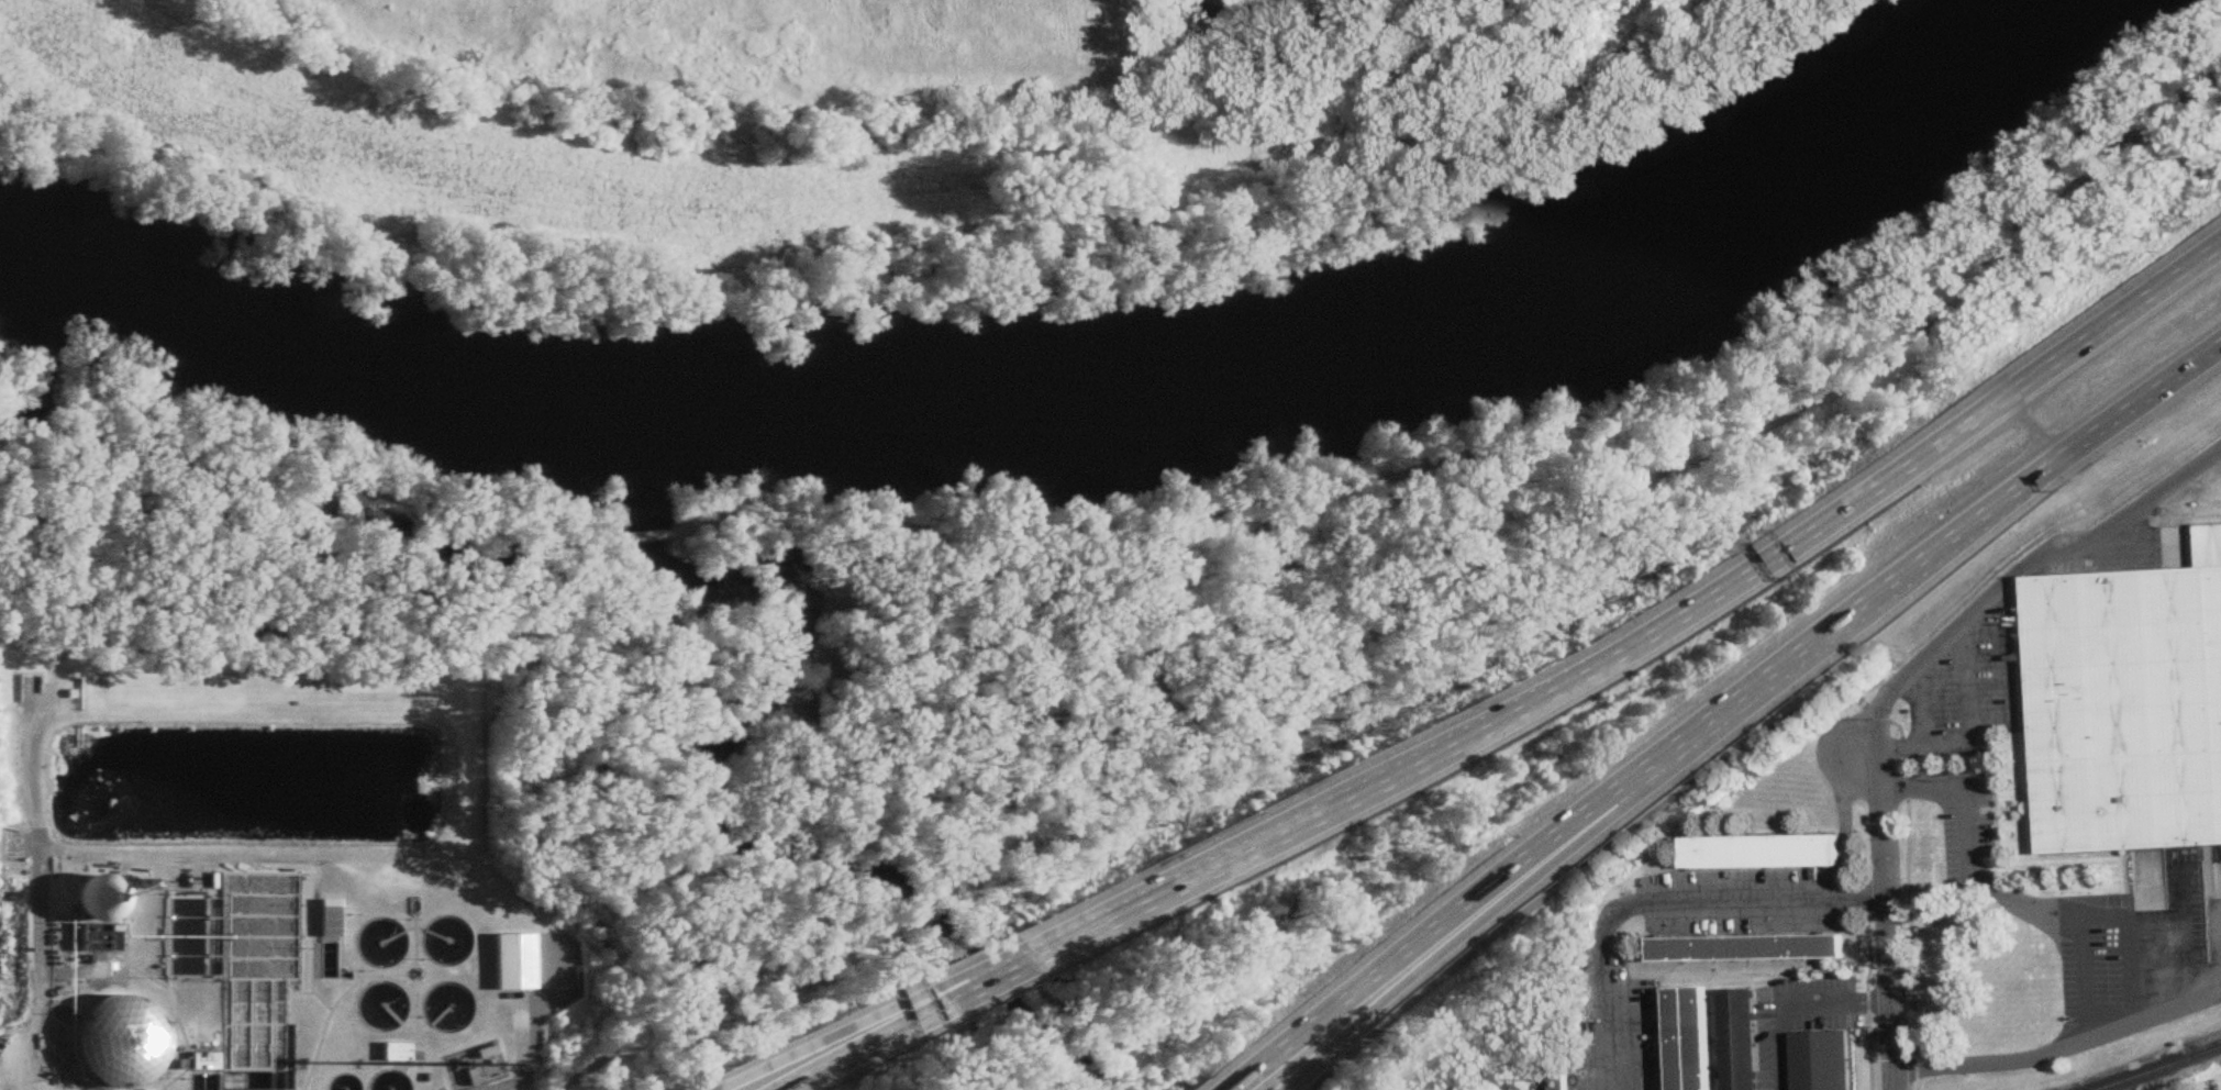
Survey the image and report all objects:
river: (27, 340)
river: (1058, 381)
road: (2033, 433)
road: (1512, 477)
road: (645, 536)
road: (2019, 572)
road: (489, 630)
road: (1656, 632)
road: (1923, 704)
road: (1713, 708)
building: (2125, 708)
road: (1969, 734)
river: (704, 768)
road: (982, 841)
building: (1763, 852)
road: (1579, 866)
wastewater plant: (264, 885)
building: (86, 900)
road: (1489, 905)
road: (1659, 907)
road: (2040, 913)
road: (1885, 917)
building: (322, 924)
building: (1747, 948)
building: (386, 954)
road: (1010, 961)
road: (32, 966)
road: (1018, 970)
road: (1797, 1004)
building: (444, 1012)
road: (530, 1030)
road: (832, 1030)
building: (1691, 1038)
road: (878, 1039)
building: (1741, 1039)
building: (107, 1044)
building: (389, 1053)
building: (479, 1054)
railway: (2198, 1054)
road: (2033, 1057)
building: (1822, 1061)
railway: (2159, 1068)
building: (457, 1079)
building: (1563, 1079)
road: (1219, 1089)

